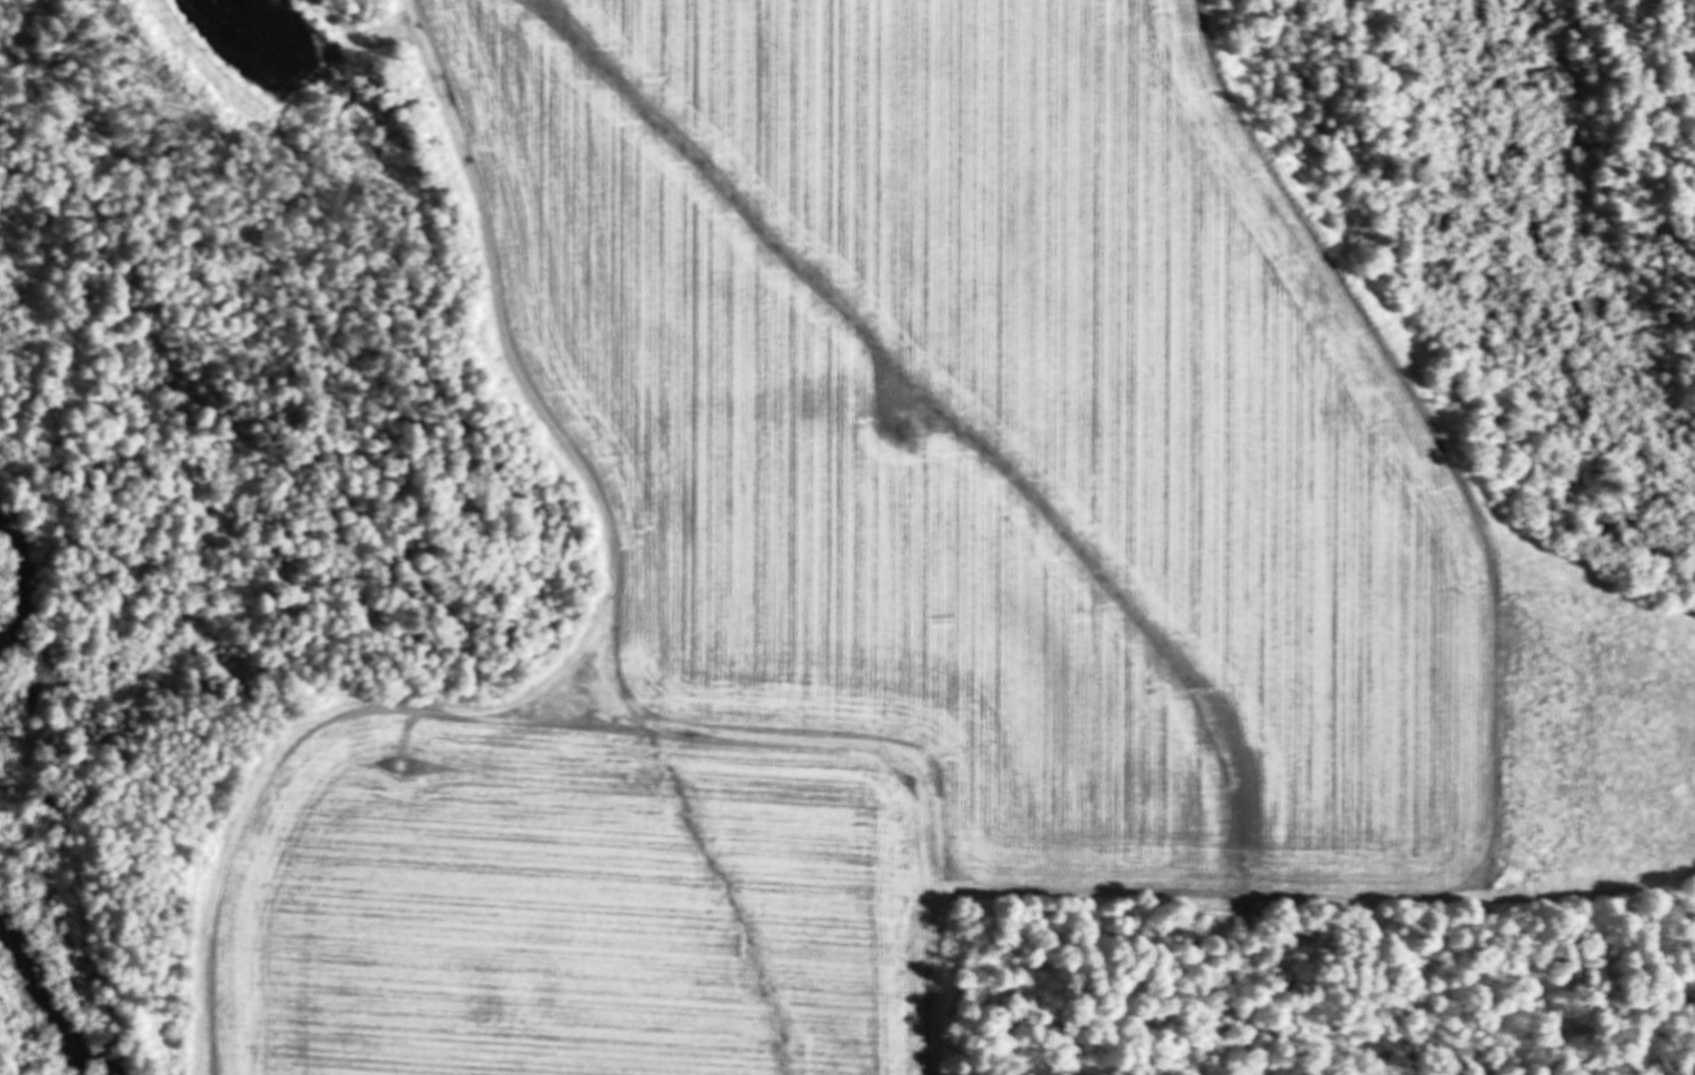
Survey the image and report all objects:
river: (0, 590)
river: (52, 986)

